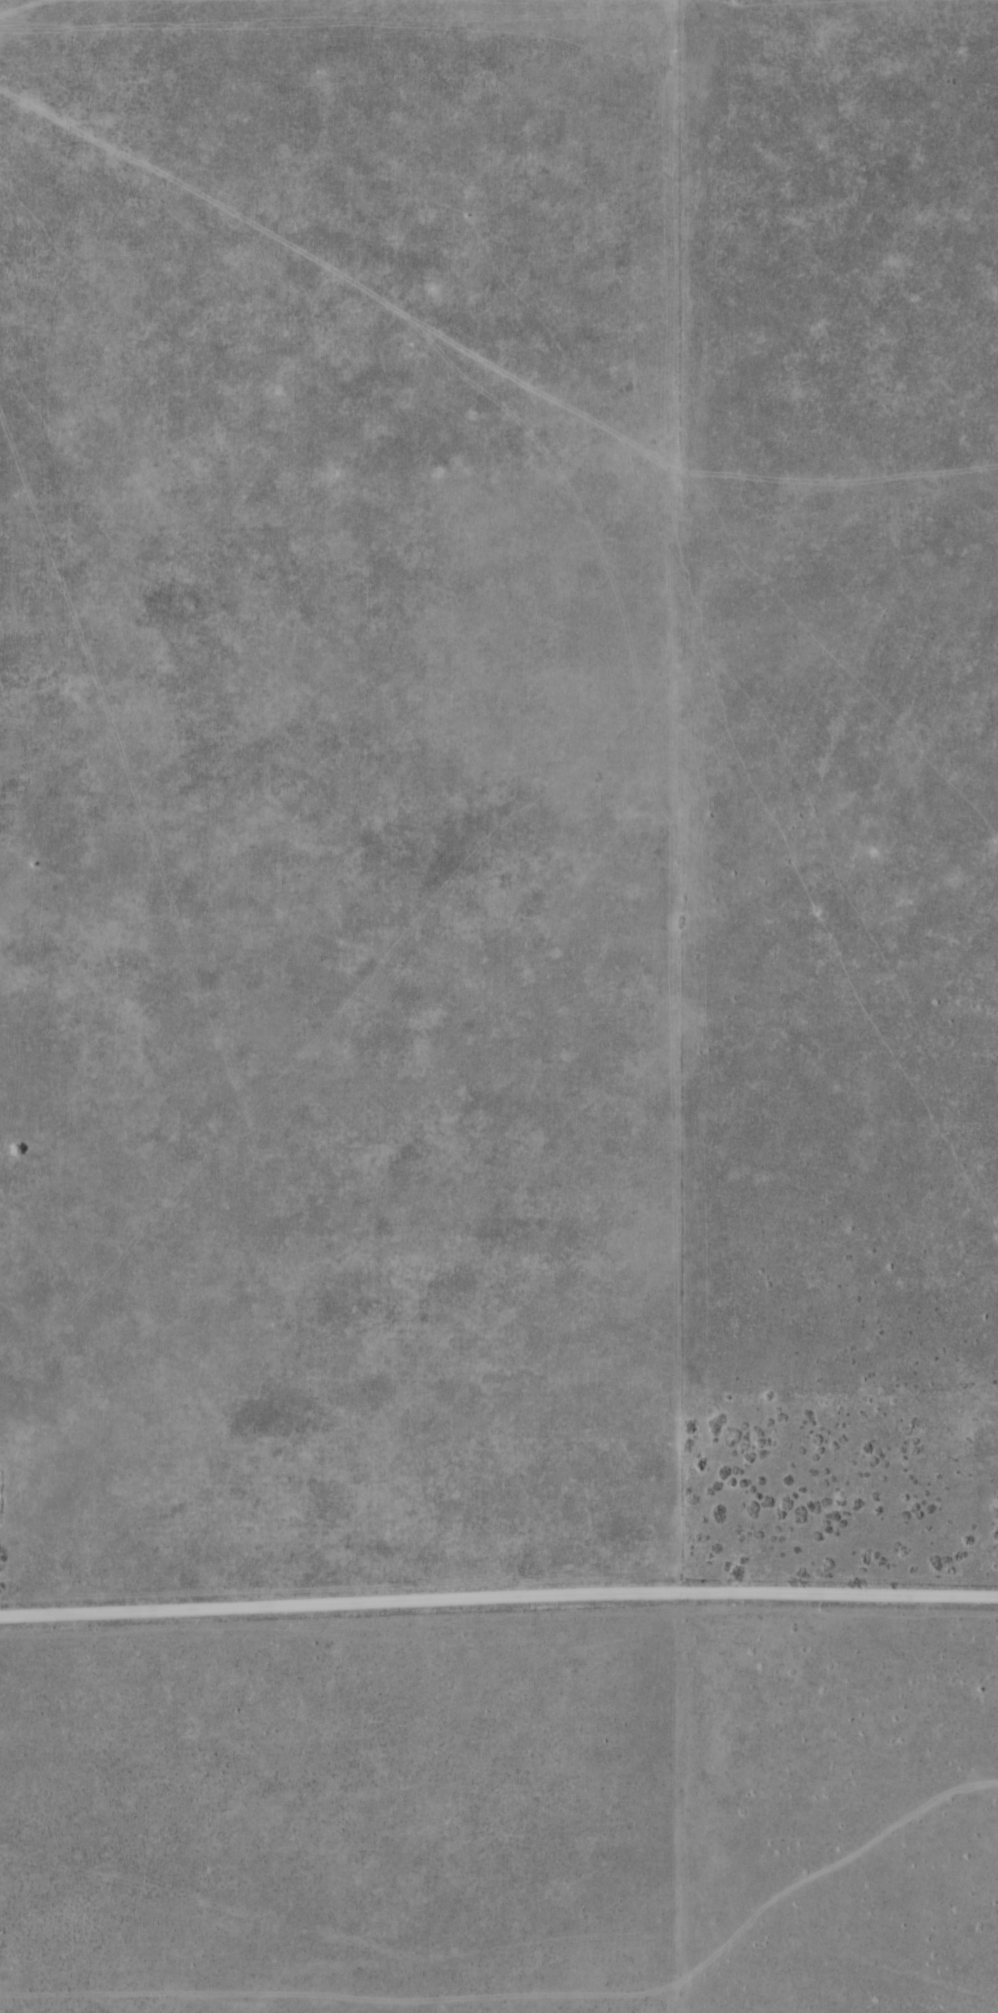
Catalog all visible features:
road: (498, 1606)

